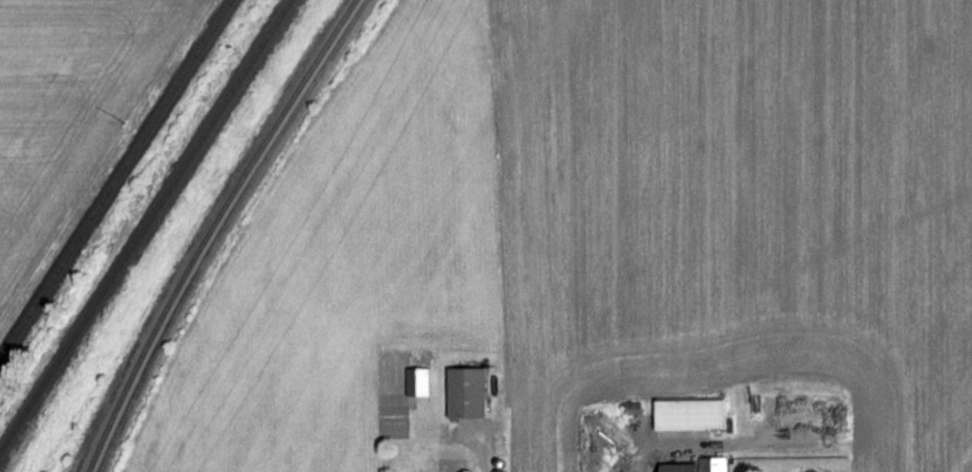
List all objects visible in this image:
railway: (114, 177)
railway: (143, 223)
railway: (208, 229)
railway: (219, 229)
crop: (607, 230)
building: (417, 381)
building: (466, 392)
building: (631, 407)
building: (690, 414)
road: (480, 457)
building: (712, 464)
building: (679, 467)

